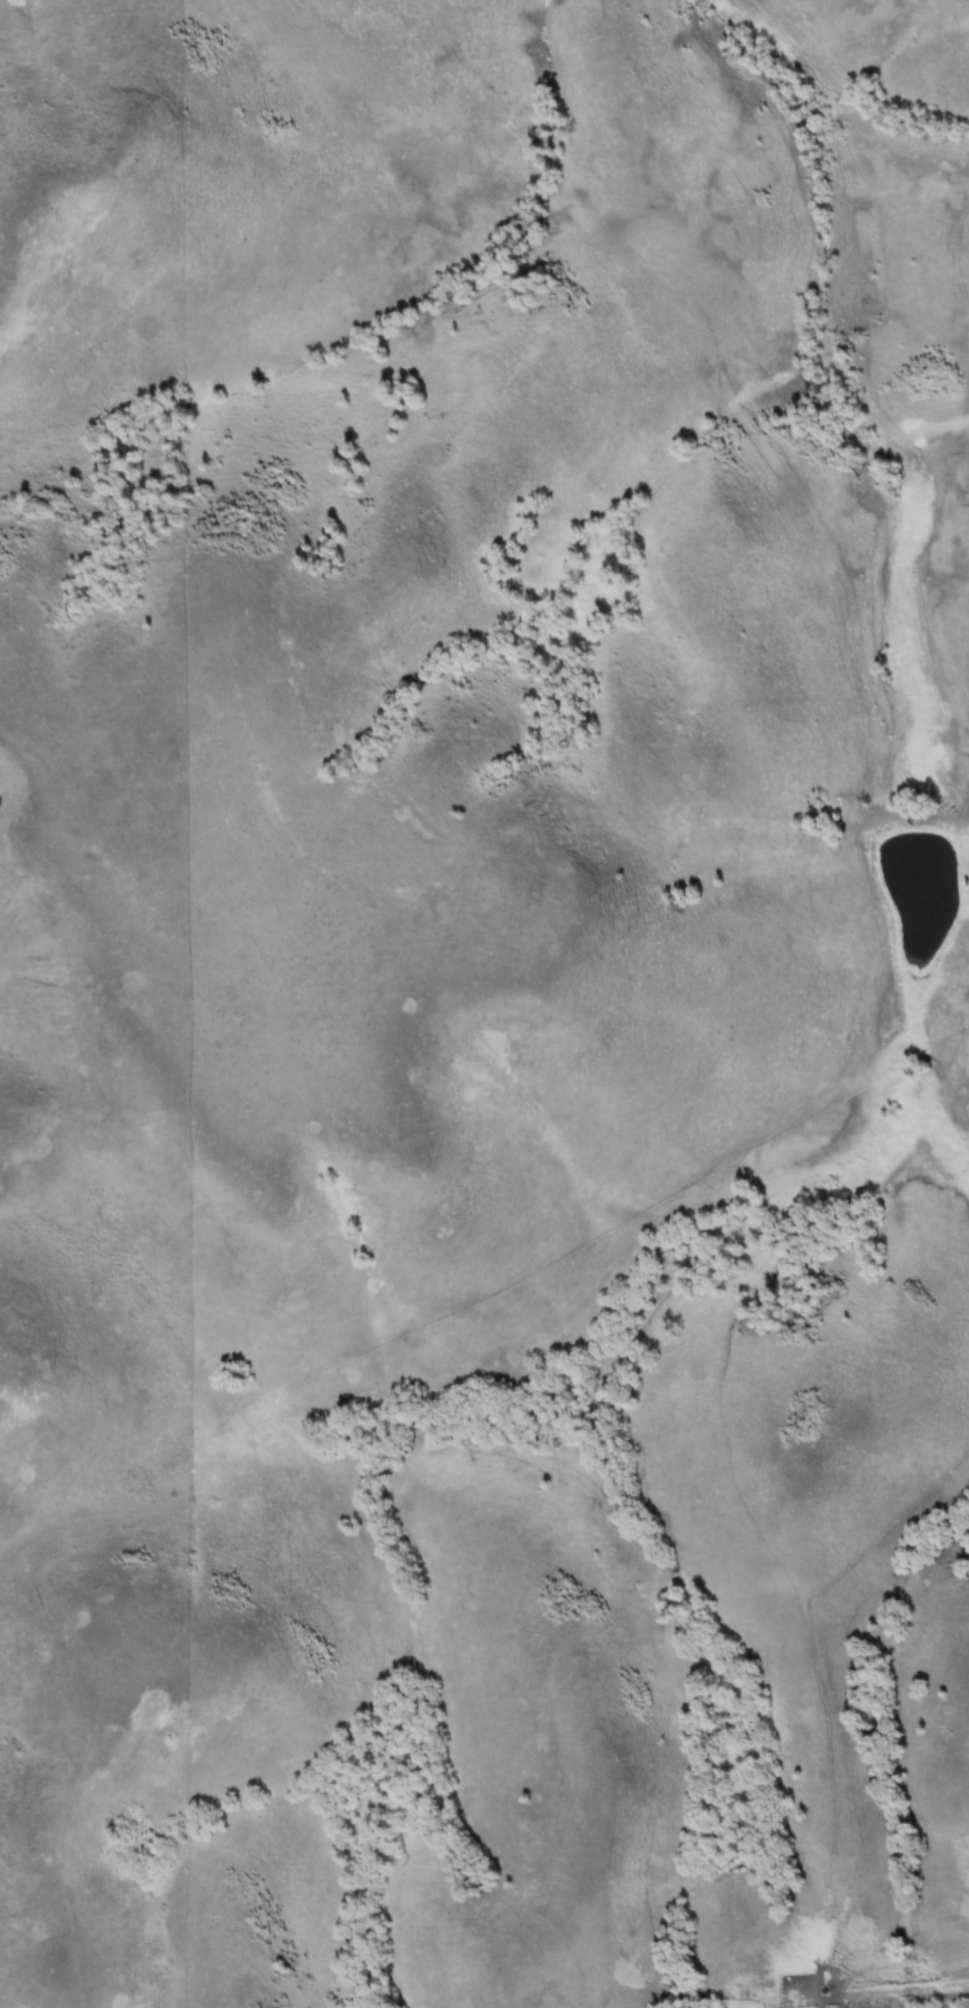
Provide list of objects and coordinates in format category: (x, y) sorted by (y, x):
road: (903, 2000)

